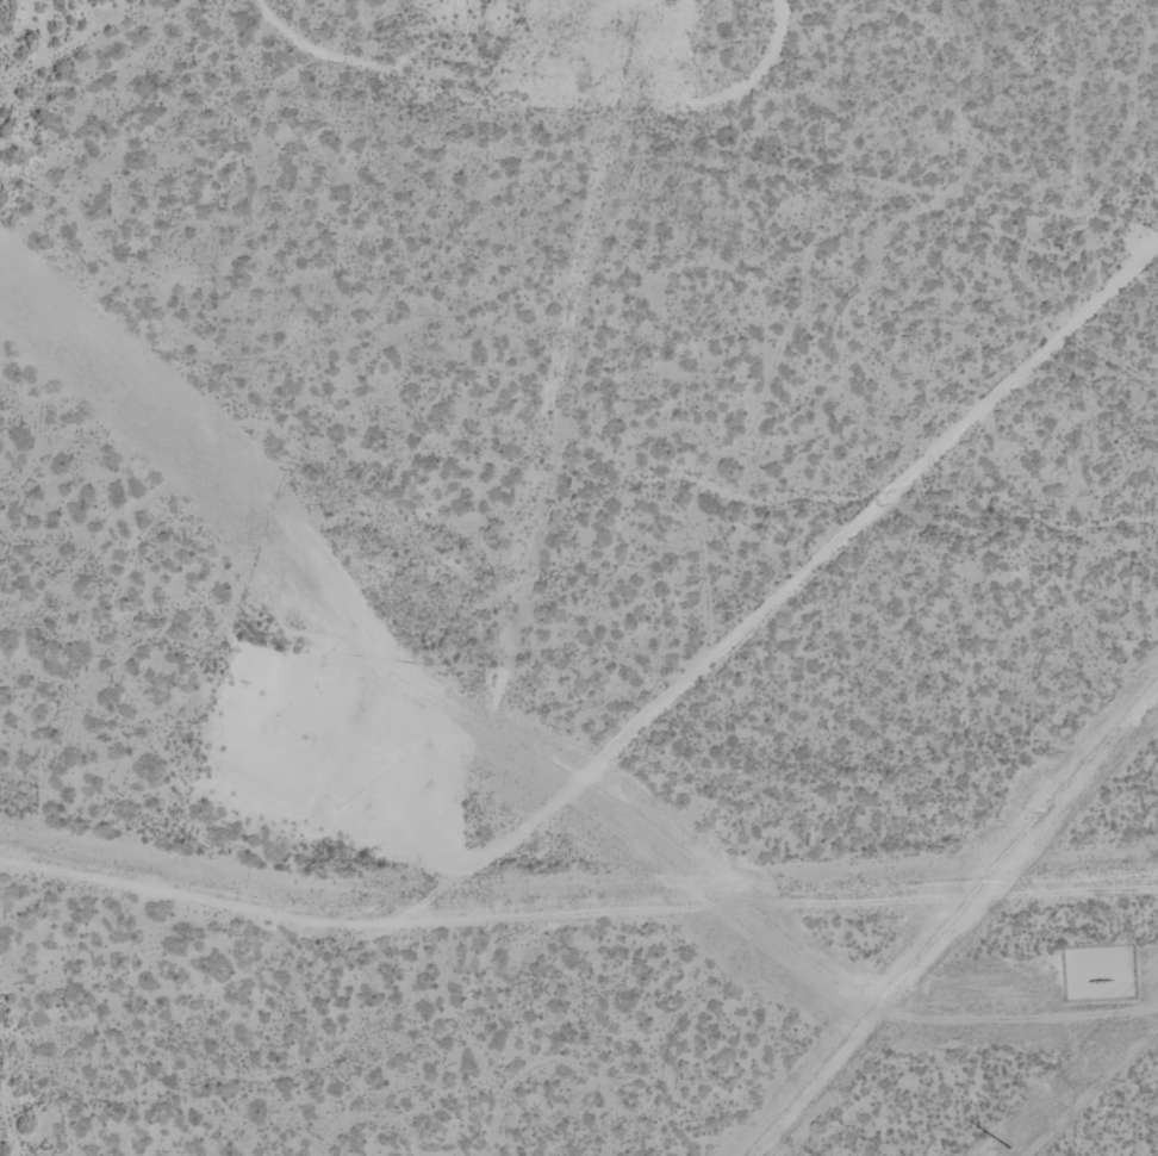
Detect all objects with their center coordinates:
road: (490, 102)

